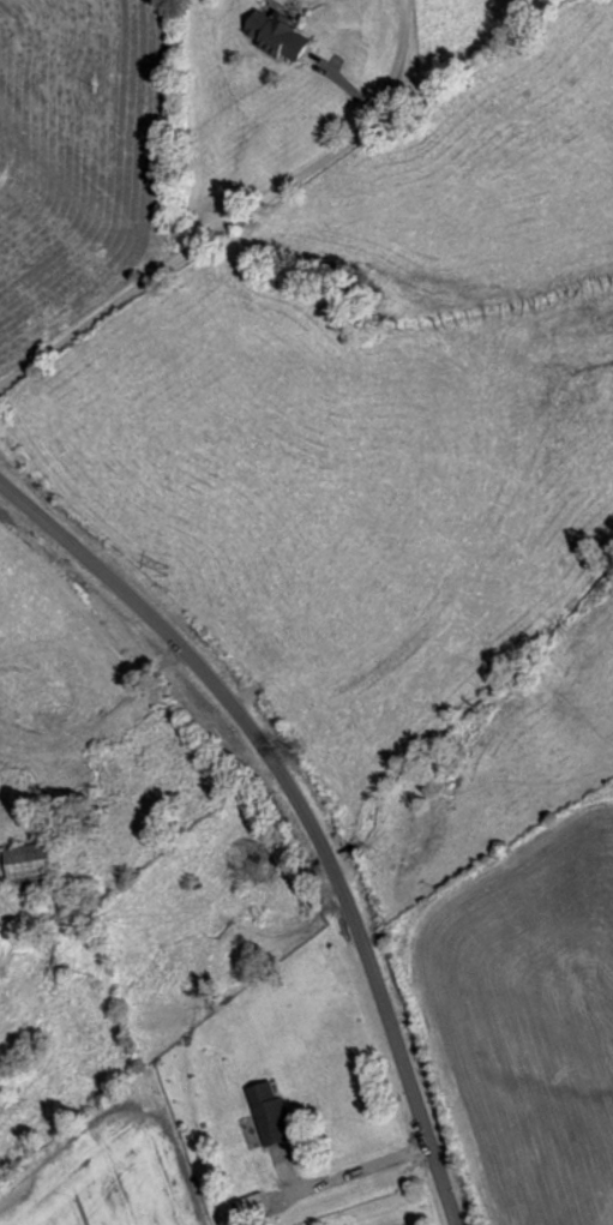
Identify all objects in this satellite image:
building: (274, 35)
road: (236, 216)
road: (304, 806)
building: (36, 860)
building: (266, 1111)
building: (250, 1203)

